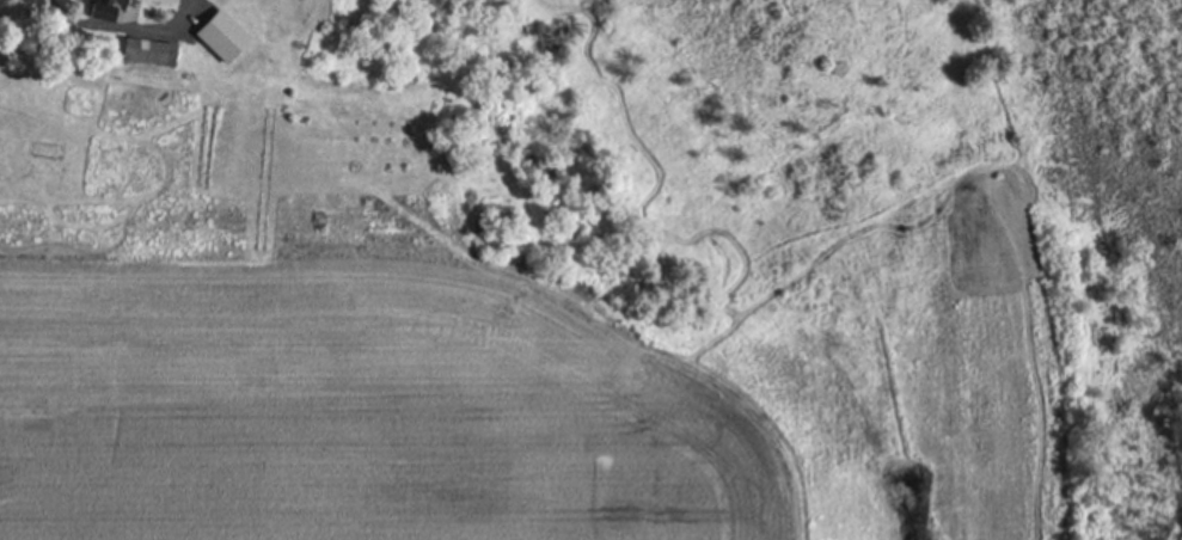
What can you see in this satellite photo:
building: (102, 10)
road: (127, 29)

